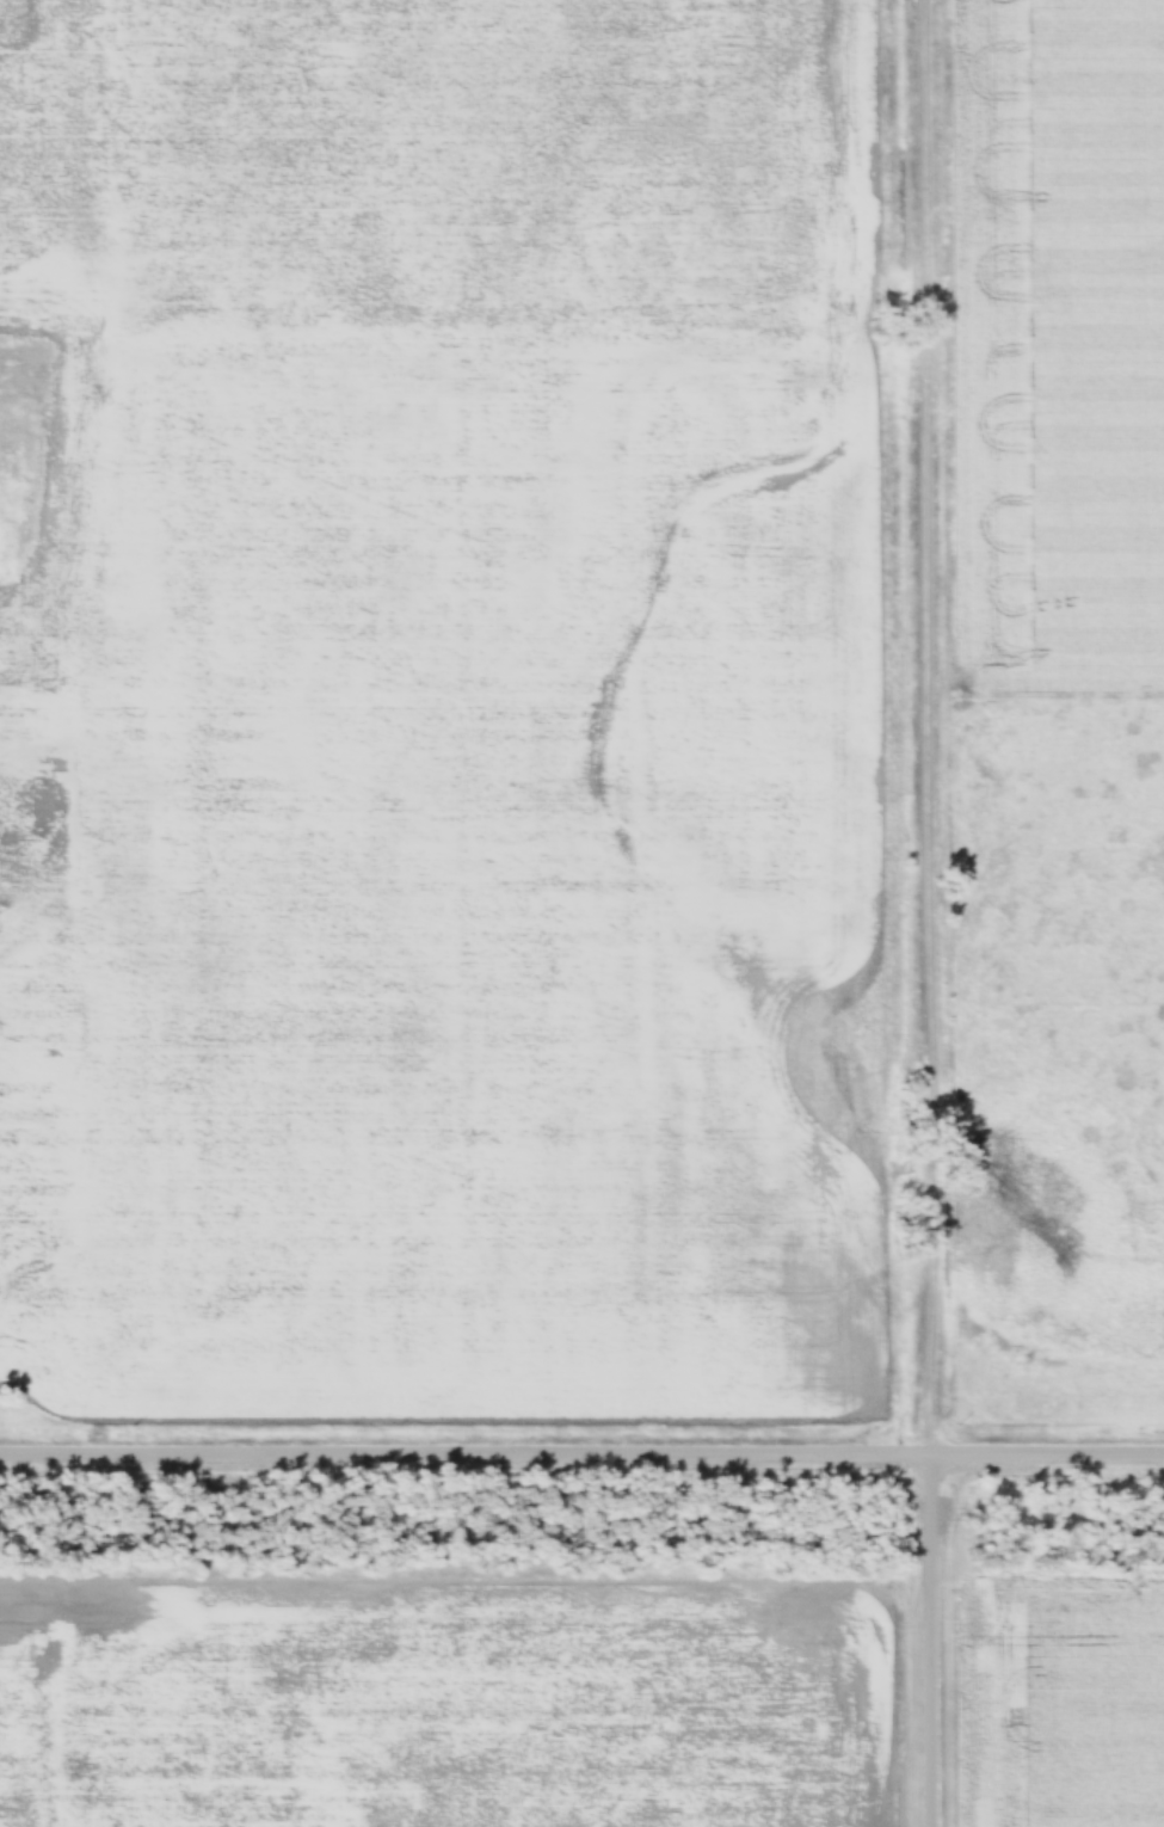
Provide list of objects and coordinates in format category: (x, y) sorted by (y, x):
road: (930, 913)
road: (581, 1451)

